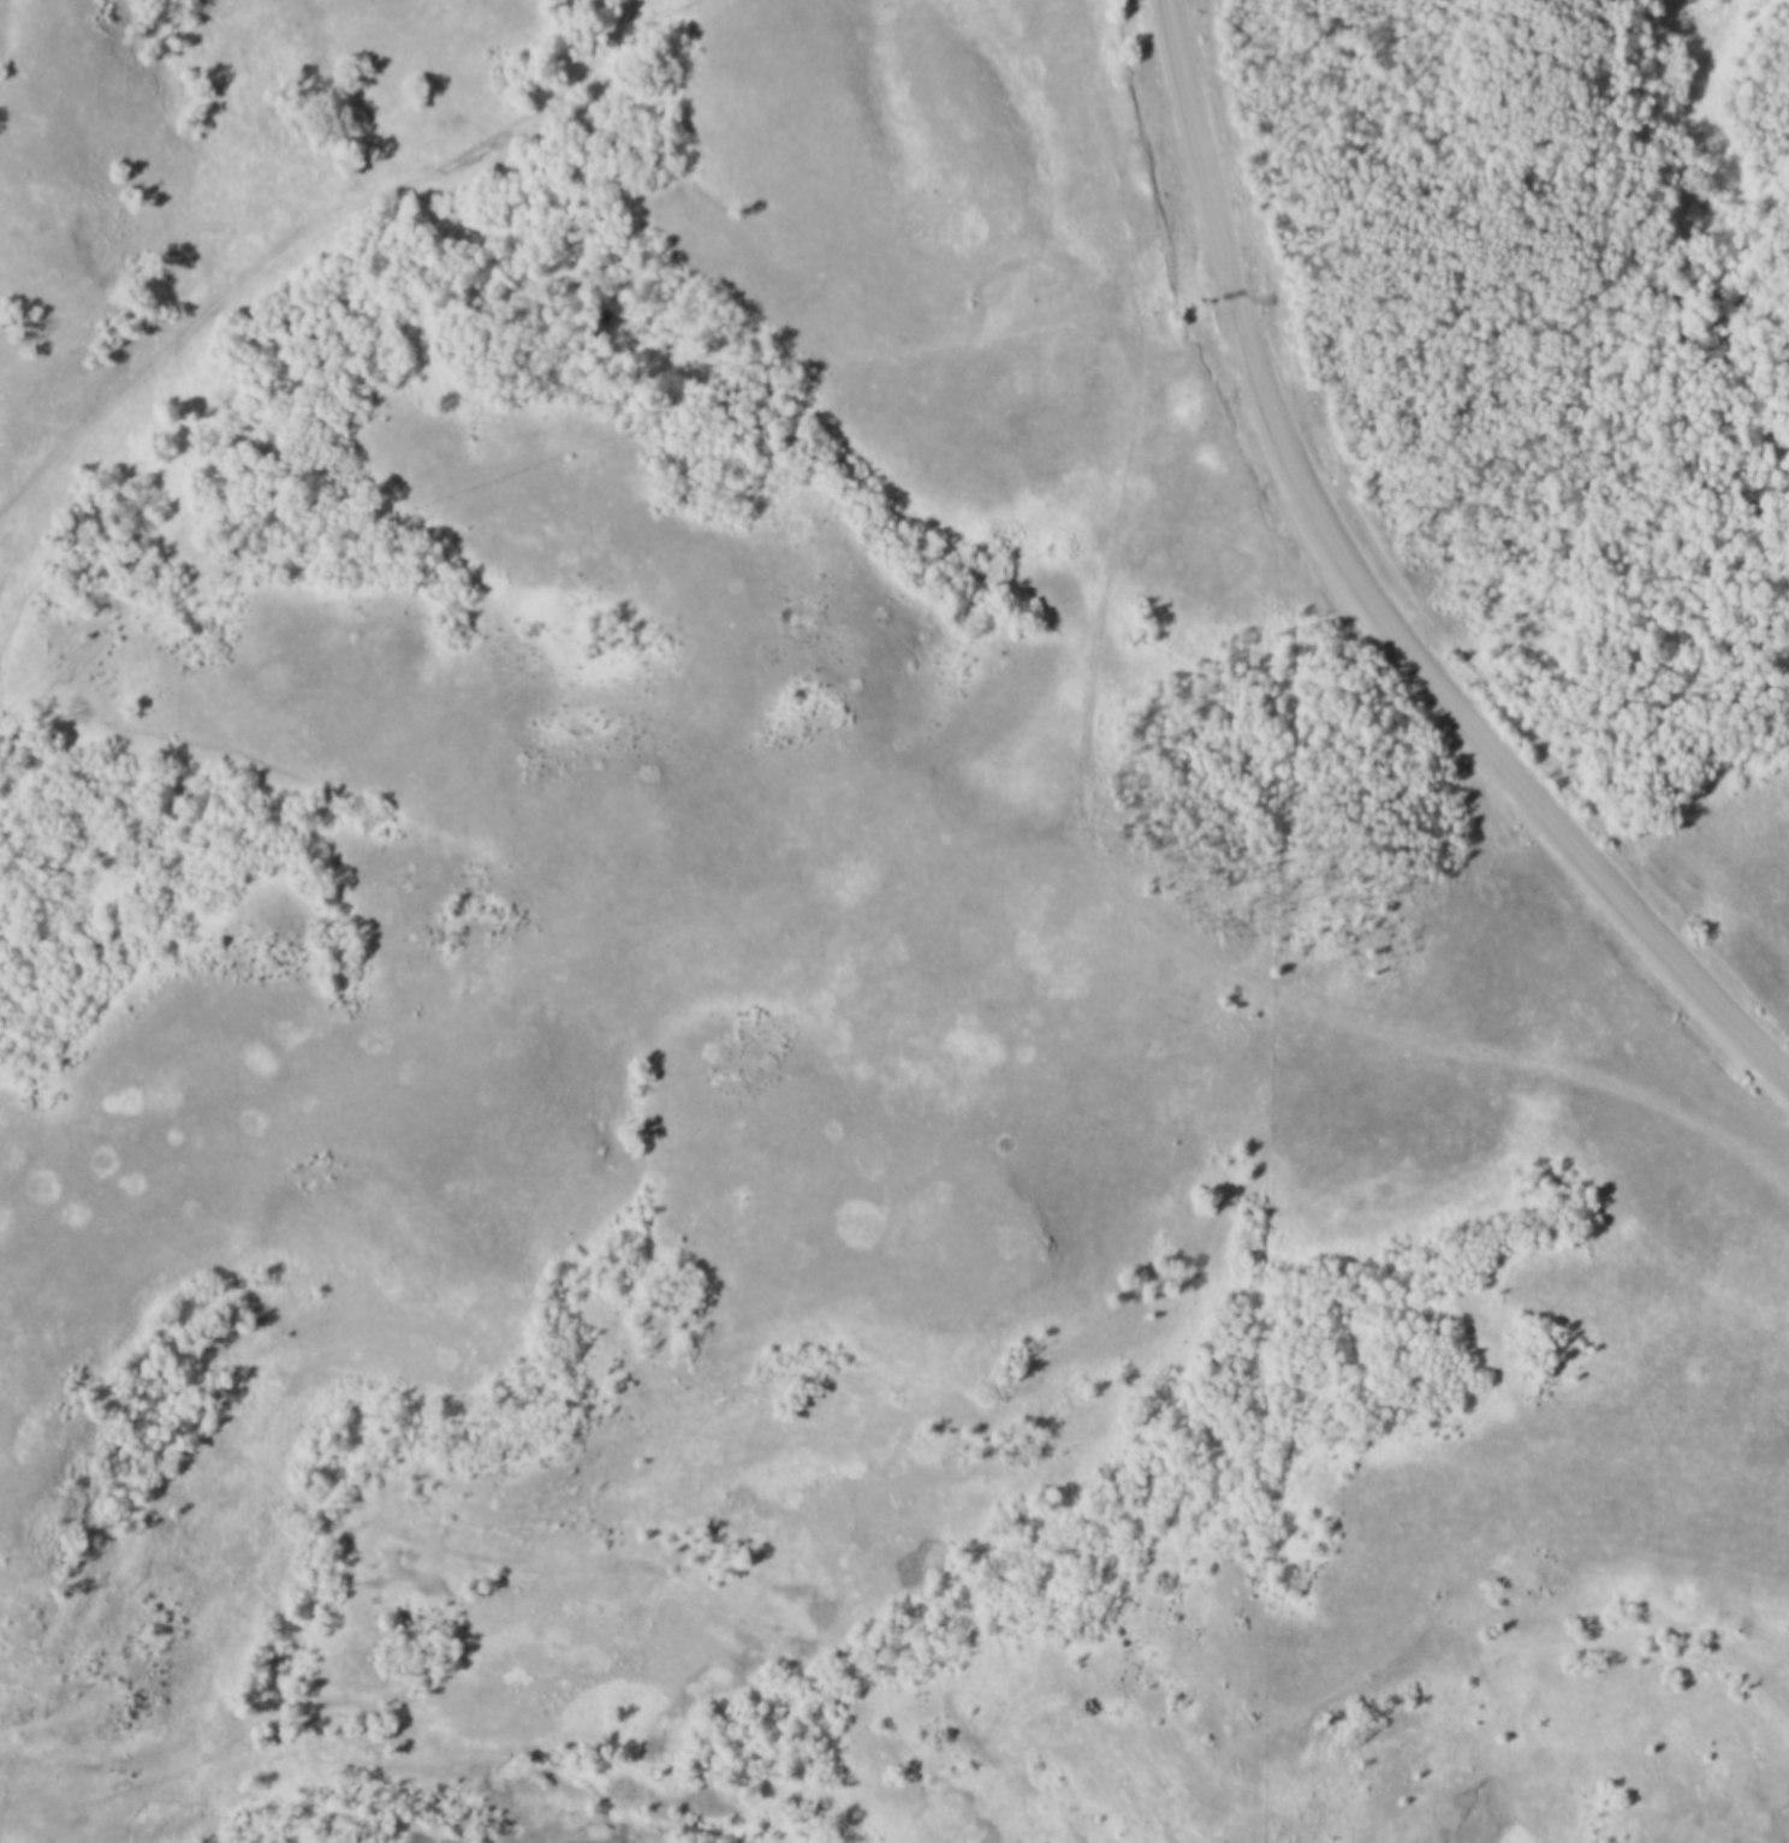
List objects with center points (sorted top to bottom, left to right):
road: (316, 246)
road: (1368, 602)

